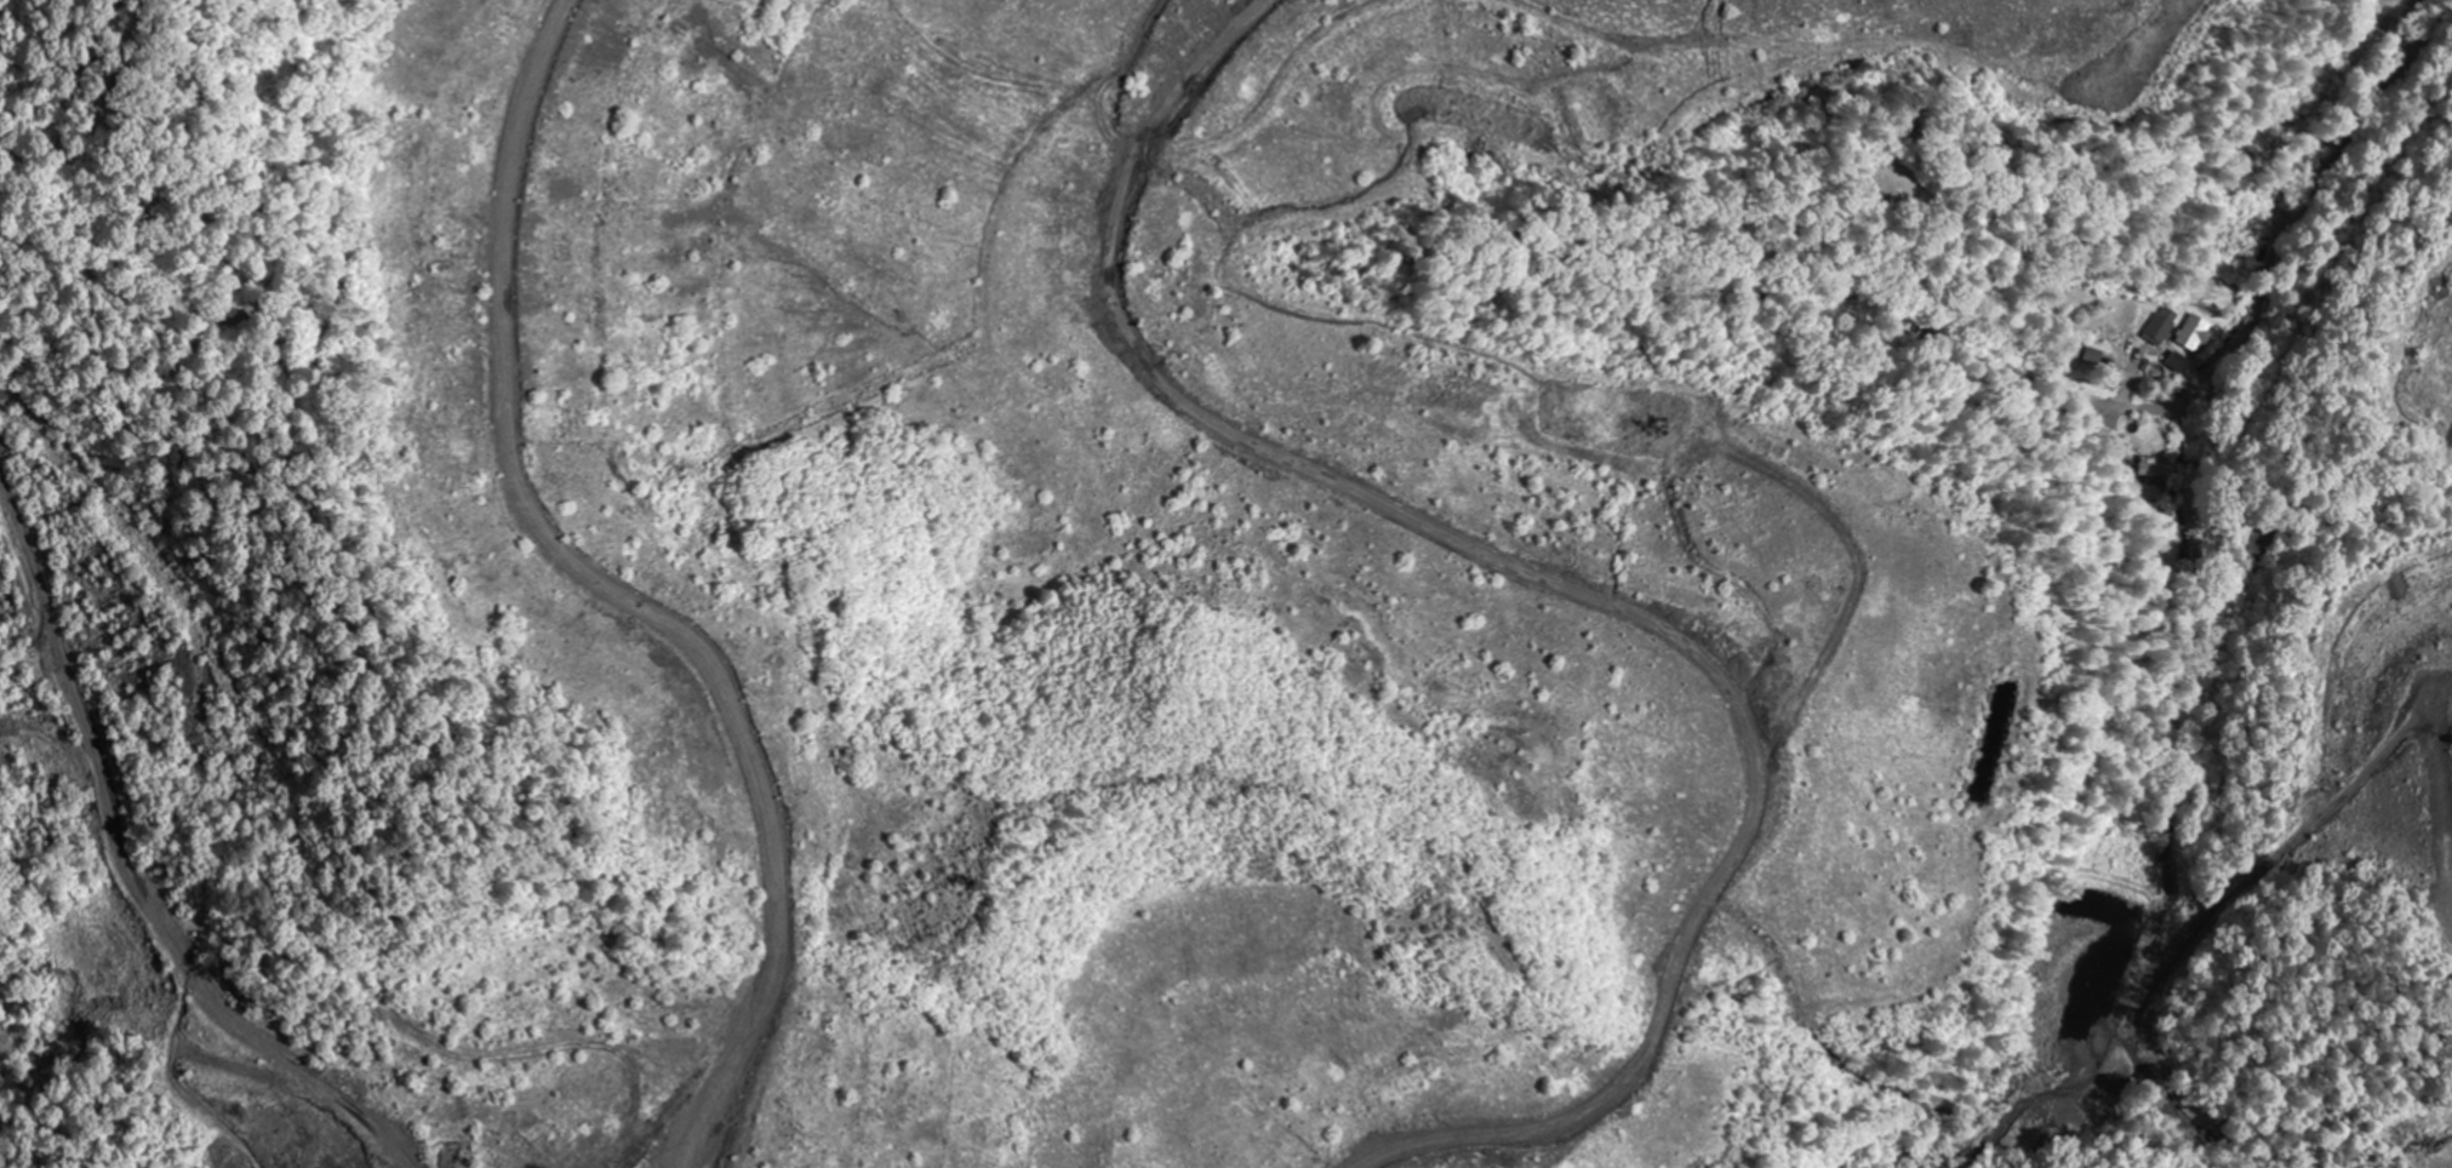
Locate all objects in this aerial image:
road: (2305, 253)
building: (2160, 326)
building: (2193, 333)
building: (2177, 362)
building: (2154, 470)
building: (2253, 543)

